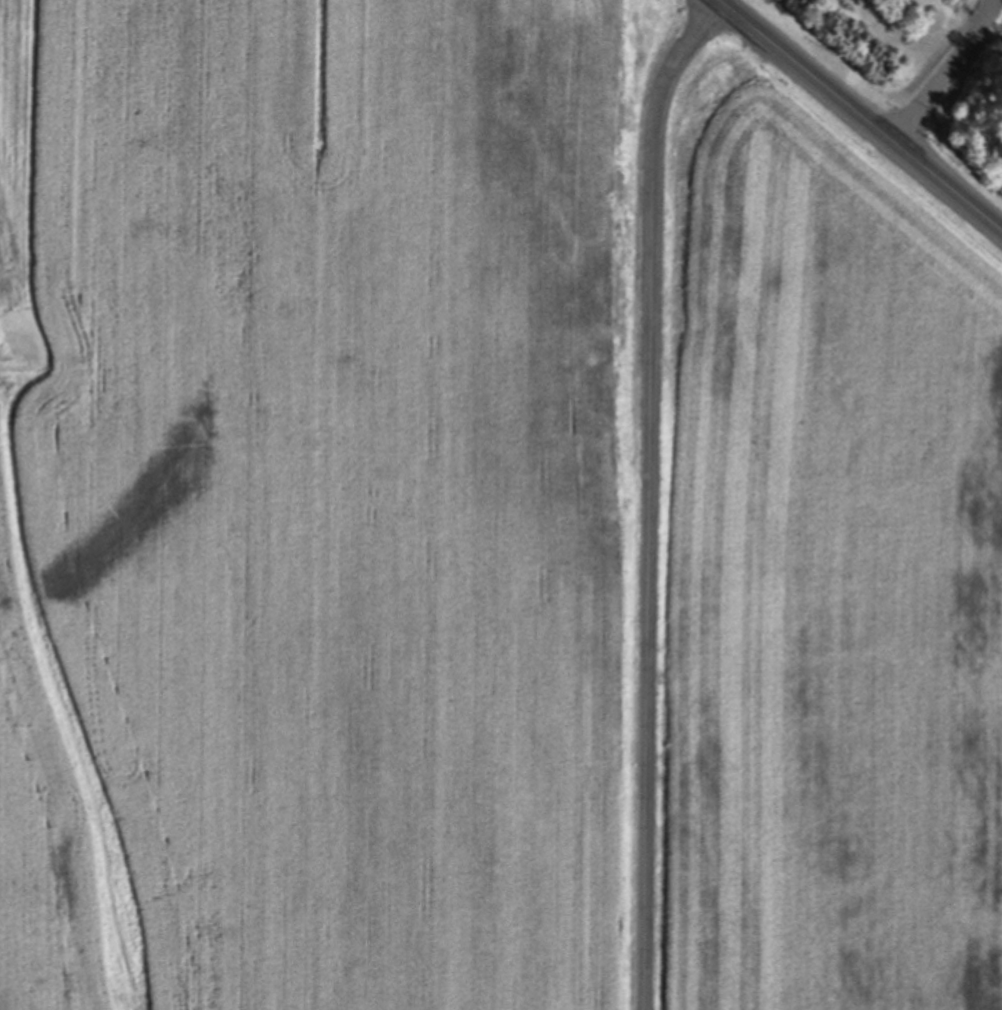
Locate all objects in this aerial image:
road: (943, 71)
road: (859, 116)
road: (647, 497)

